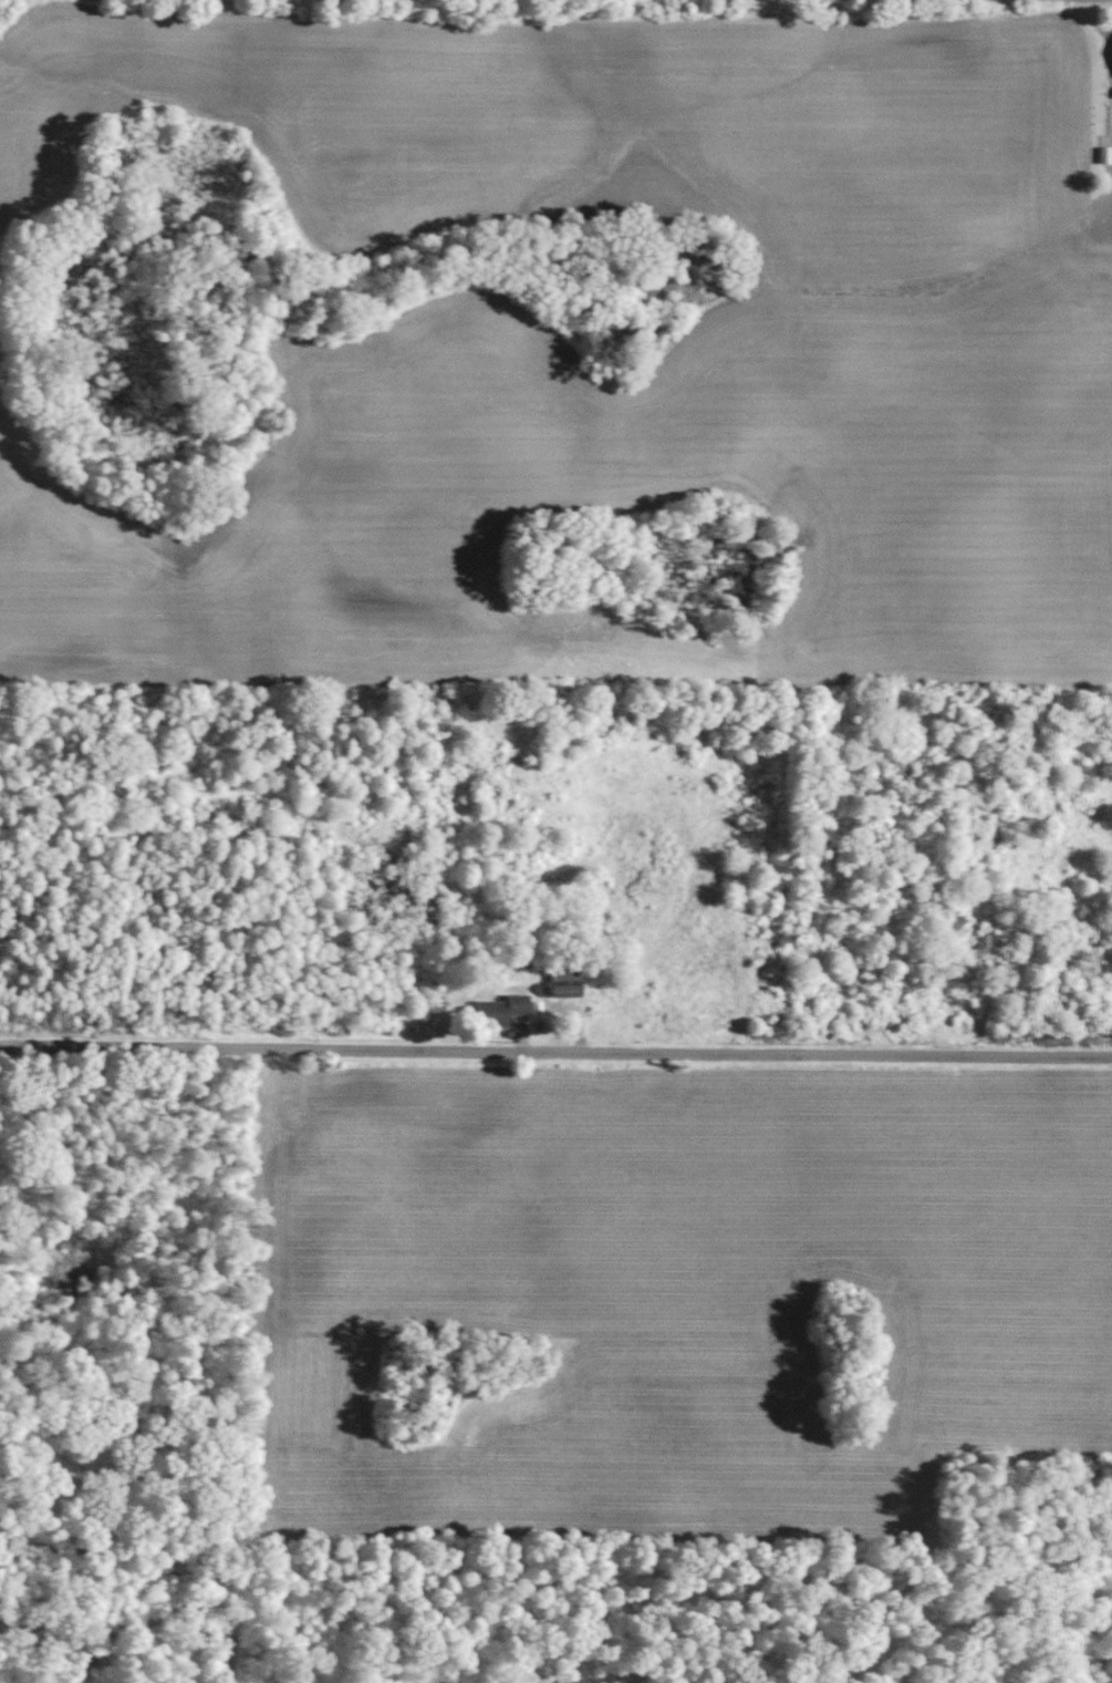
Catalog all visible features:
building: (565, 980)
building: (501, 1011)
road: (555, 1056)

